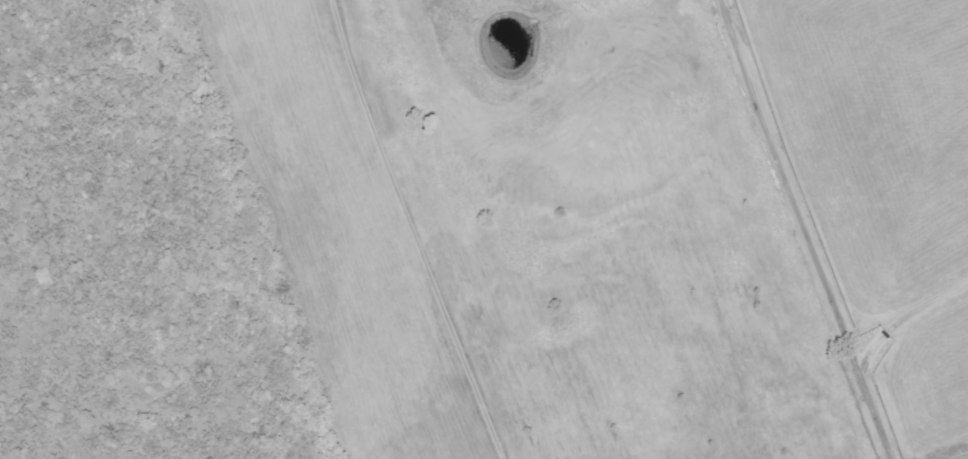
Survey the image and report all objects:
road: (811, 228)
road: (911, 315)
road: (931, 435)

